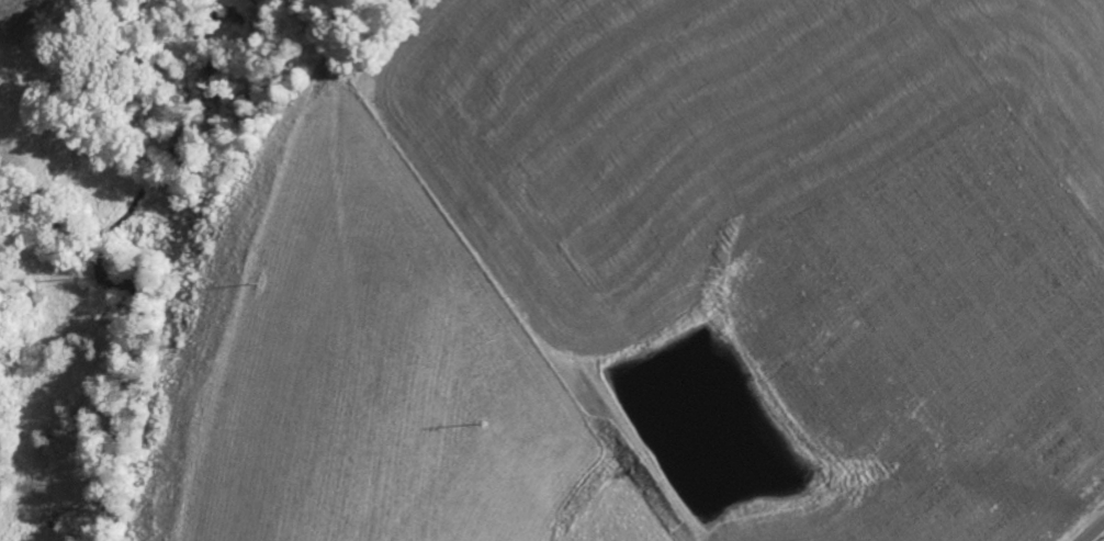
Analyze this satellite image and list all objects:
road: (1092, 530)

